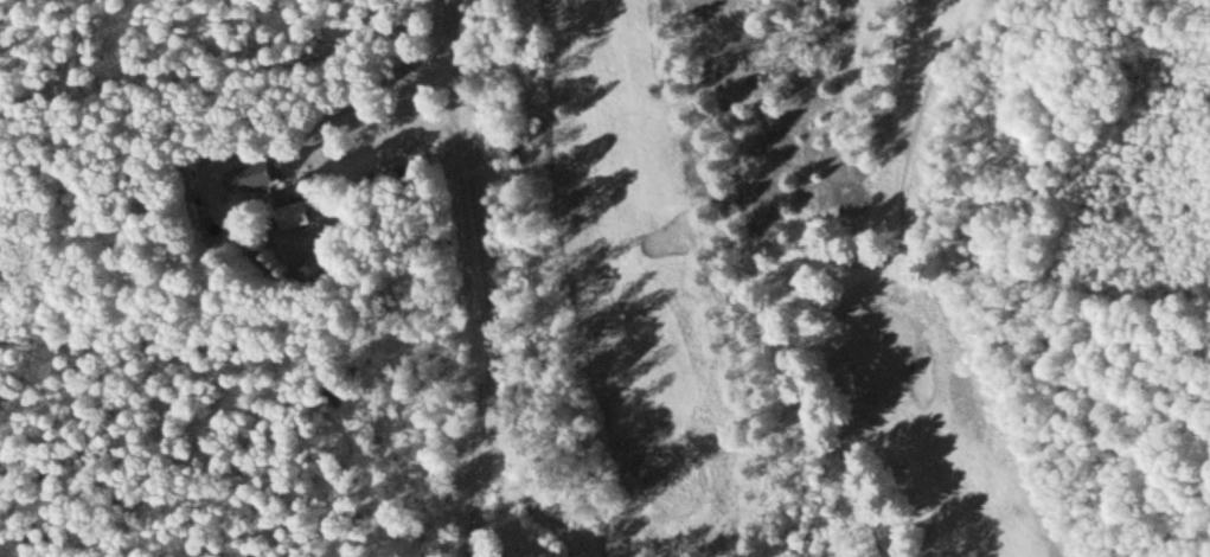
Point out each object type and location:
building: (268, 173)
road: (495, 277)
park: (834, 286)

